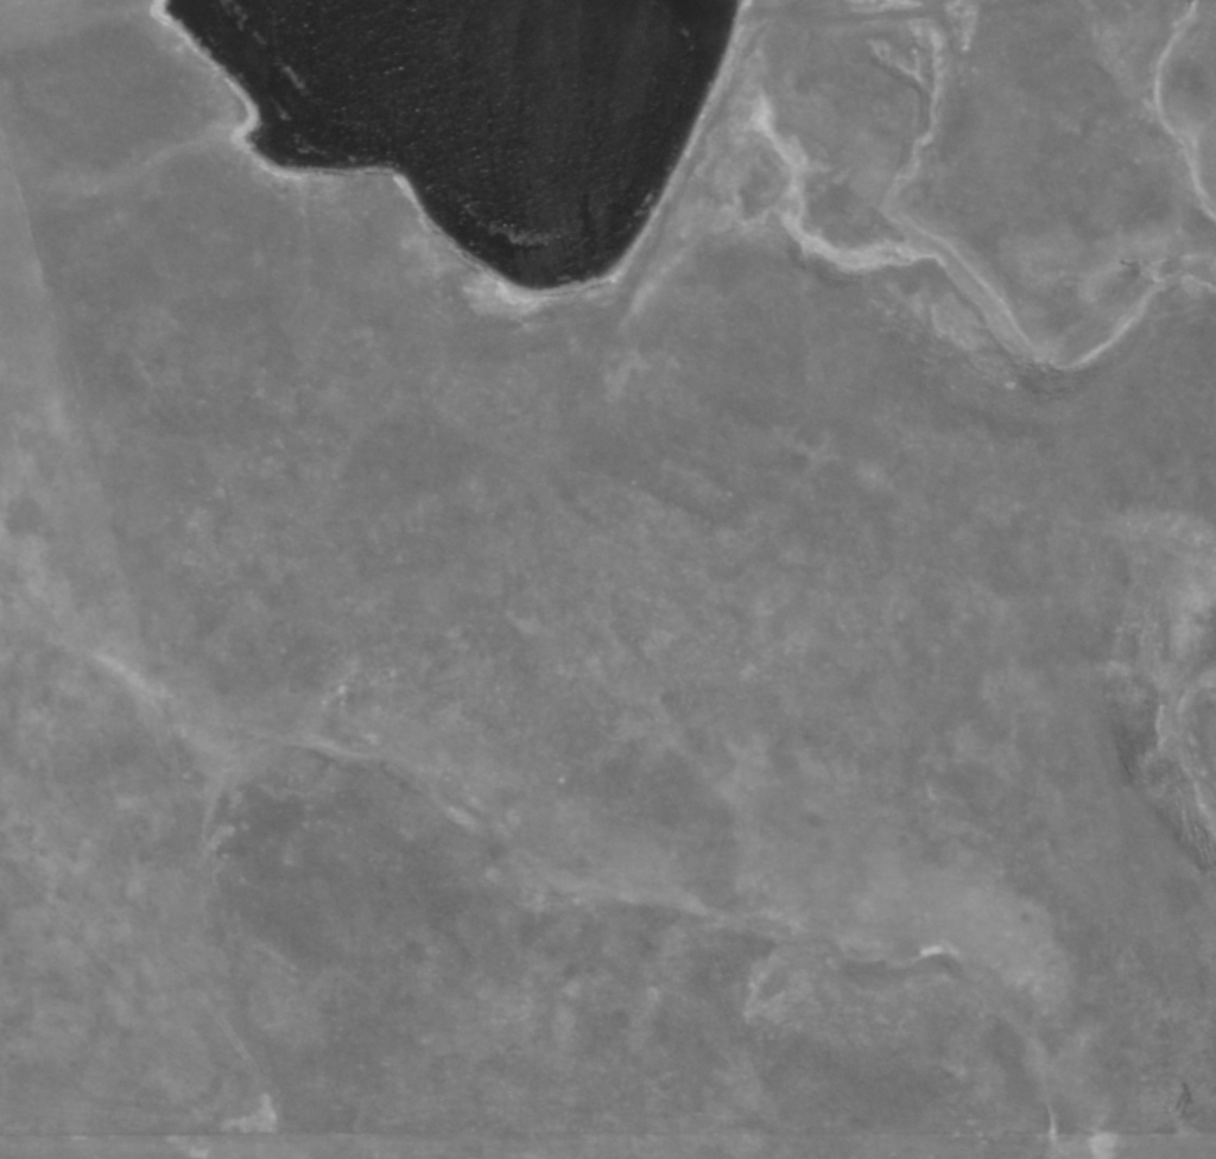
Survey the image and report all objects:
power tower: (1168, 1116)

